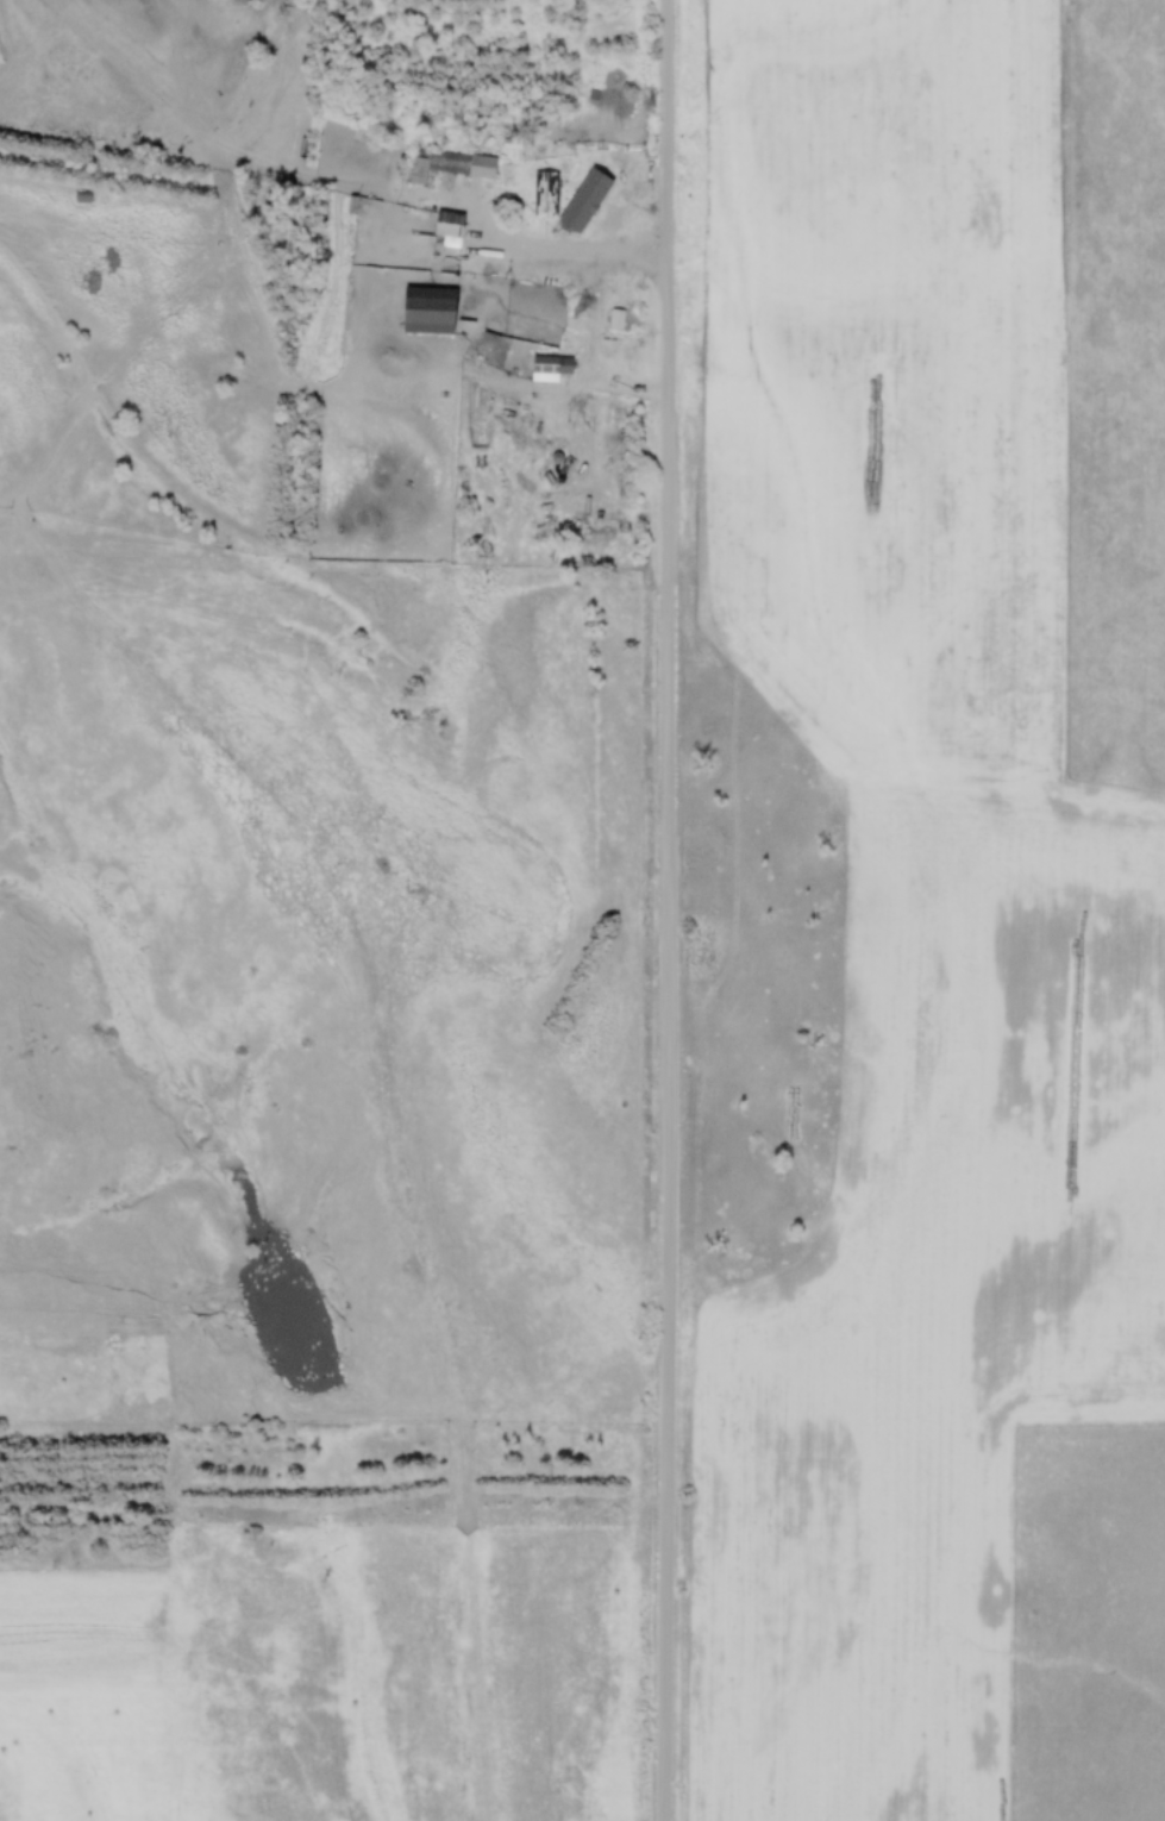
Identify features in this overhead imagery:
building: (452, 168)
building: (550, 193)
building: (449, 231)
building: (427, 313)
road: (593, 317)
building: (555, 368)
road: (674, 910)

